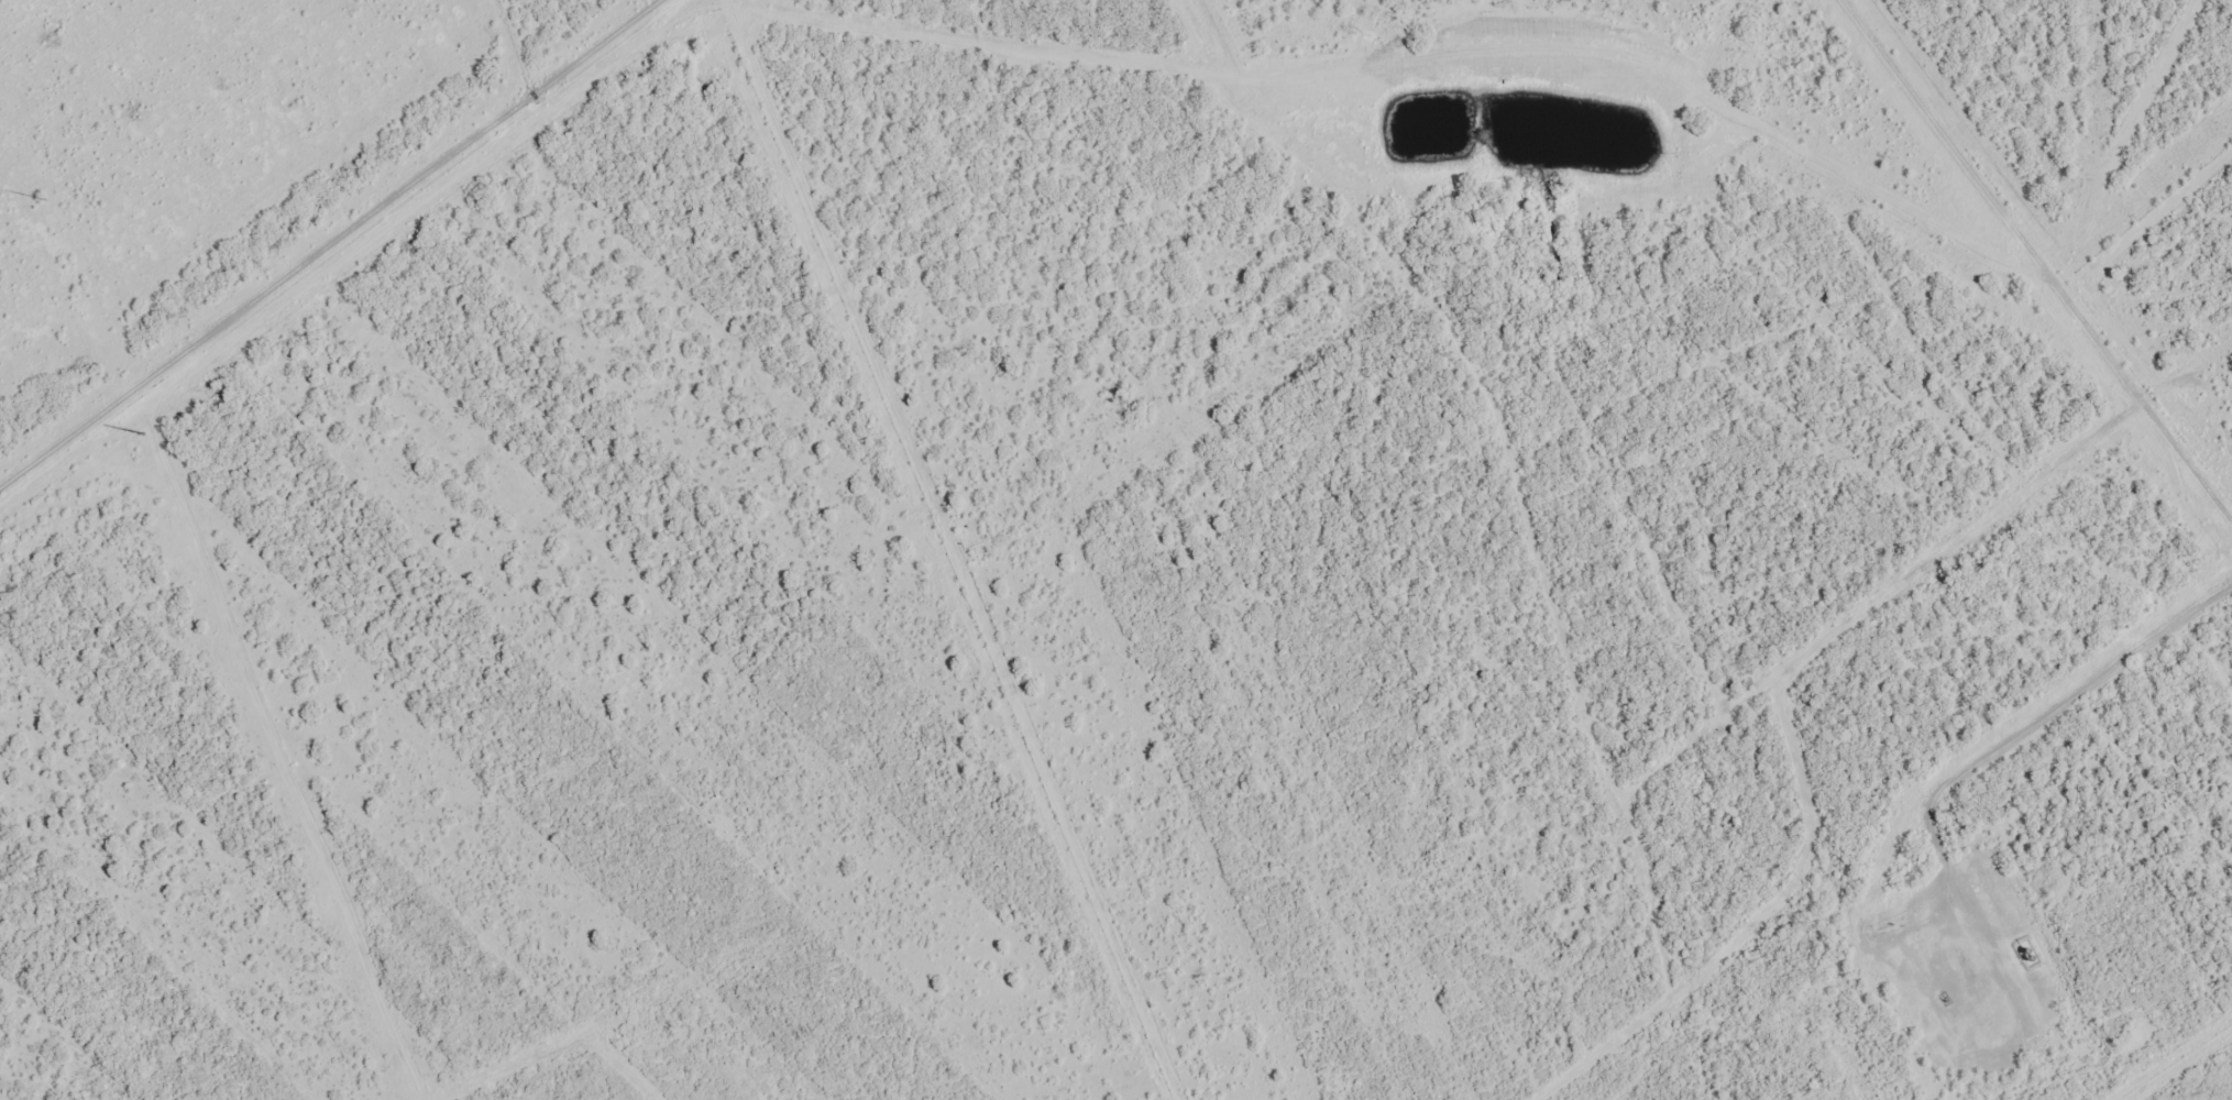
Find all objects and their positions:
power tower: (43, 199)
power tower: (188, 550)
power tower: (327, 899)

